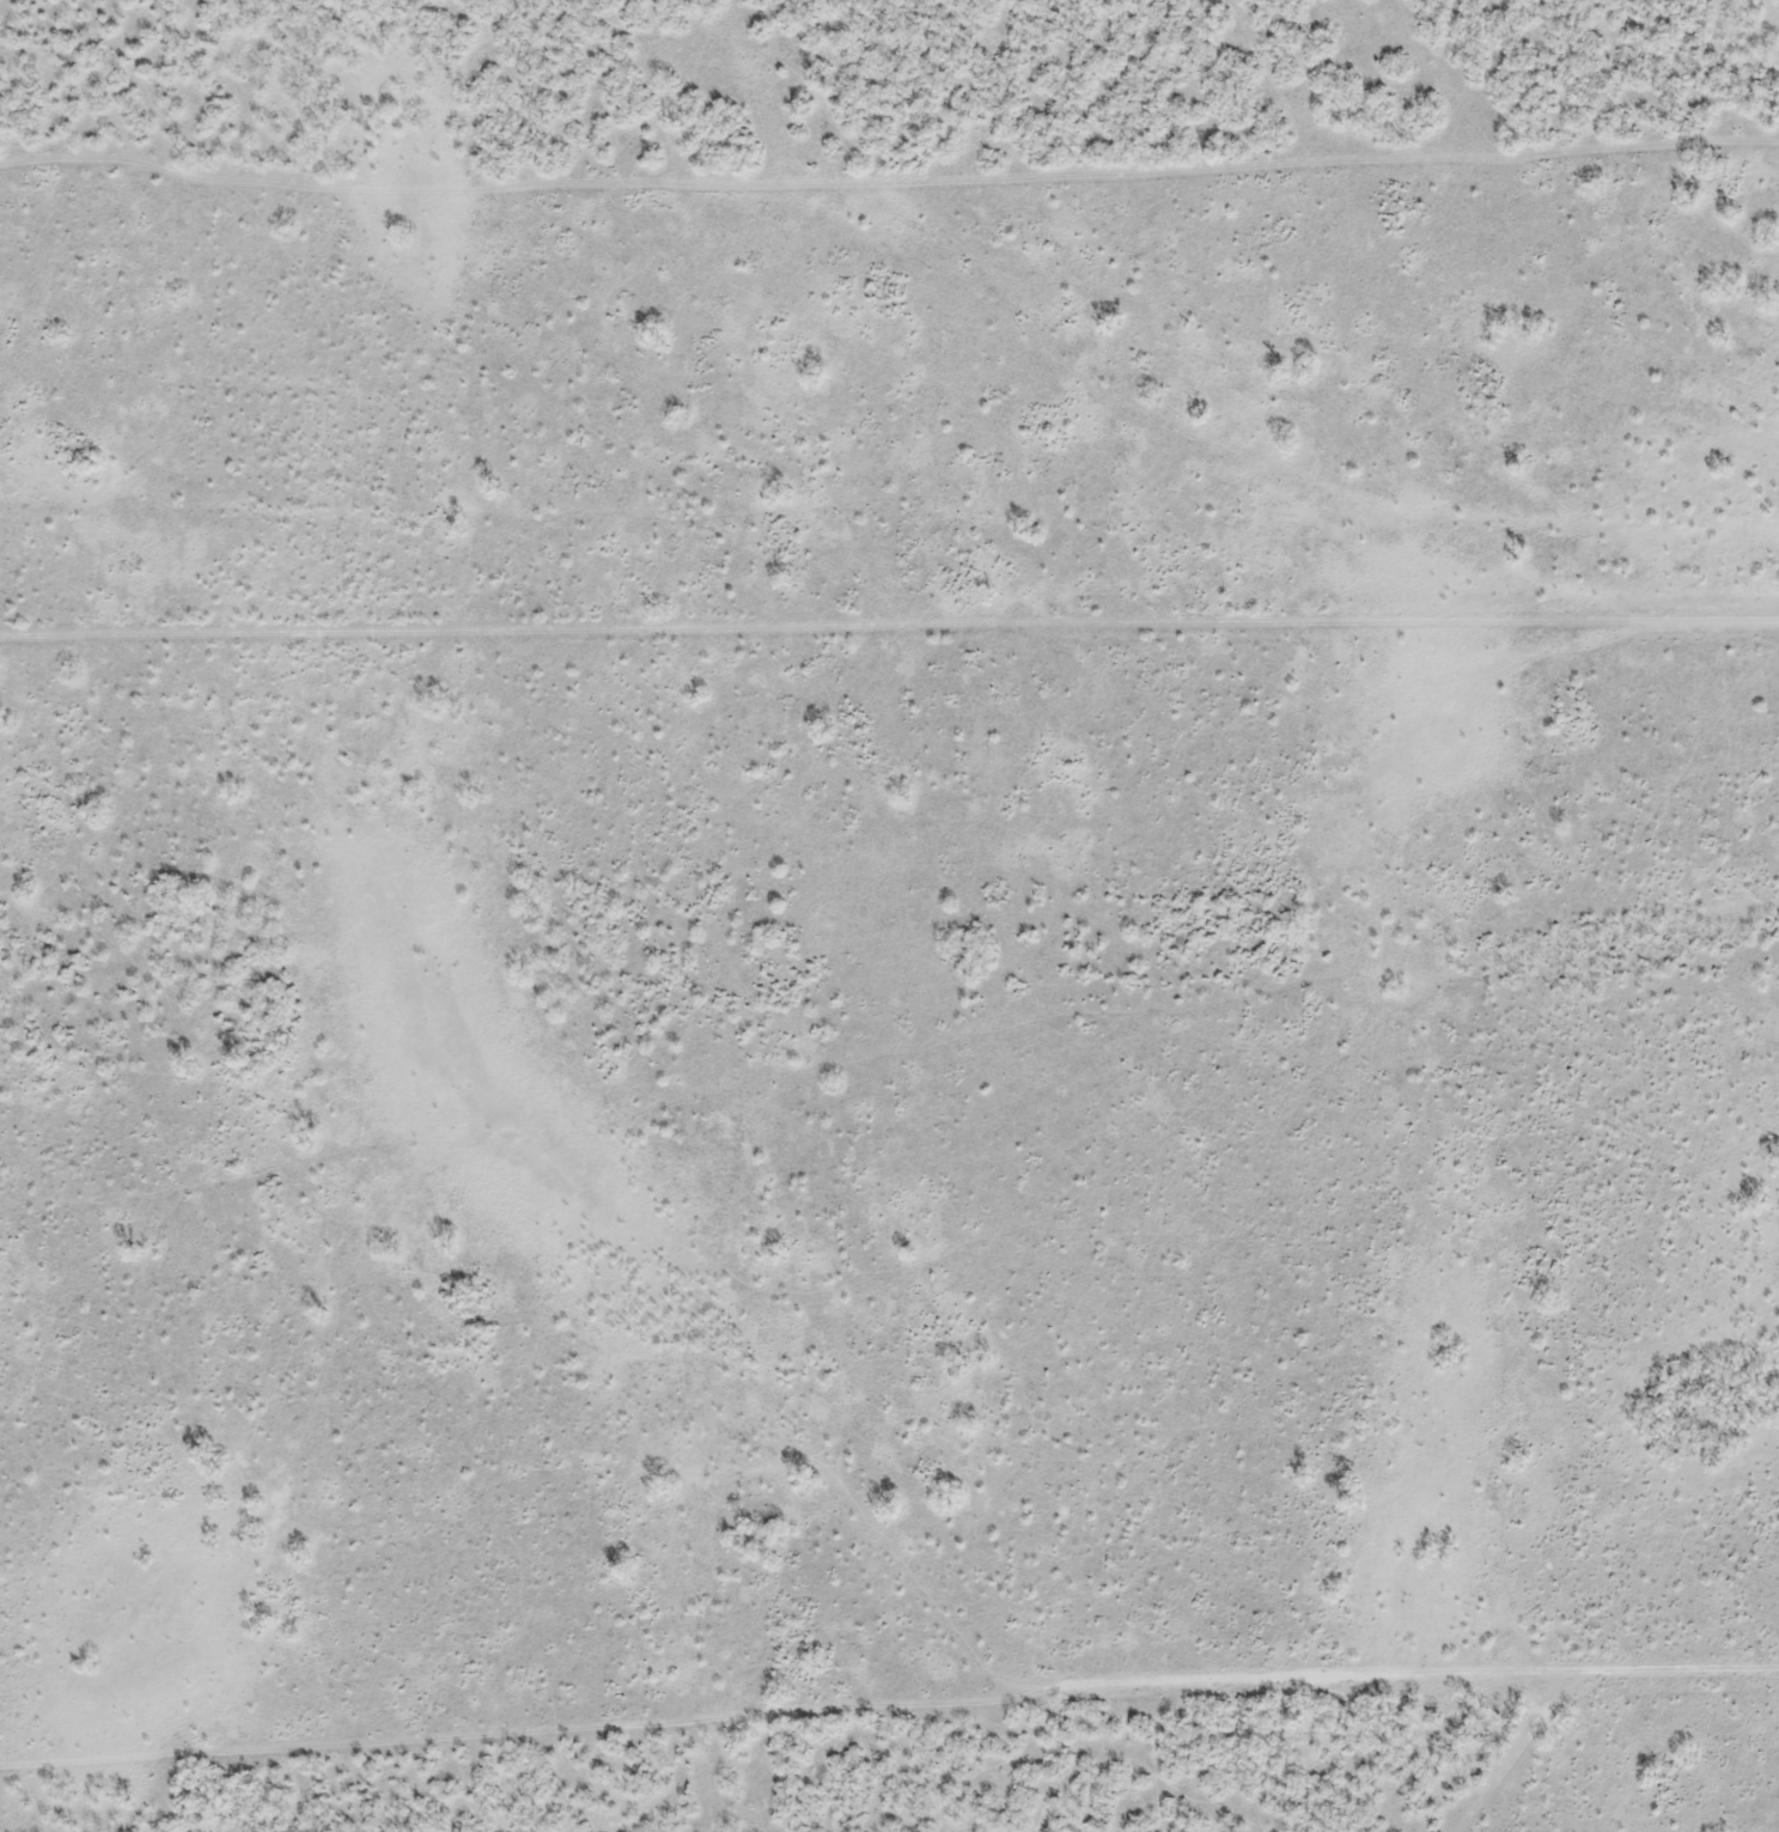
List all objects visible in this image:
road: (219, 1108)

